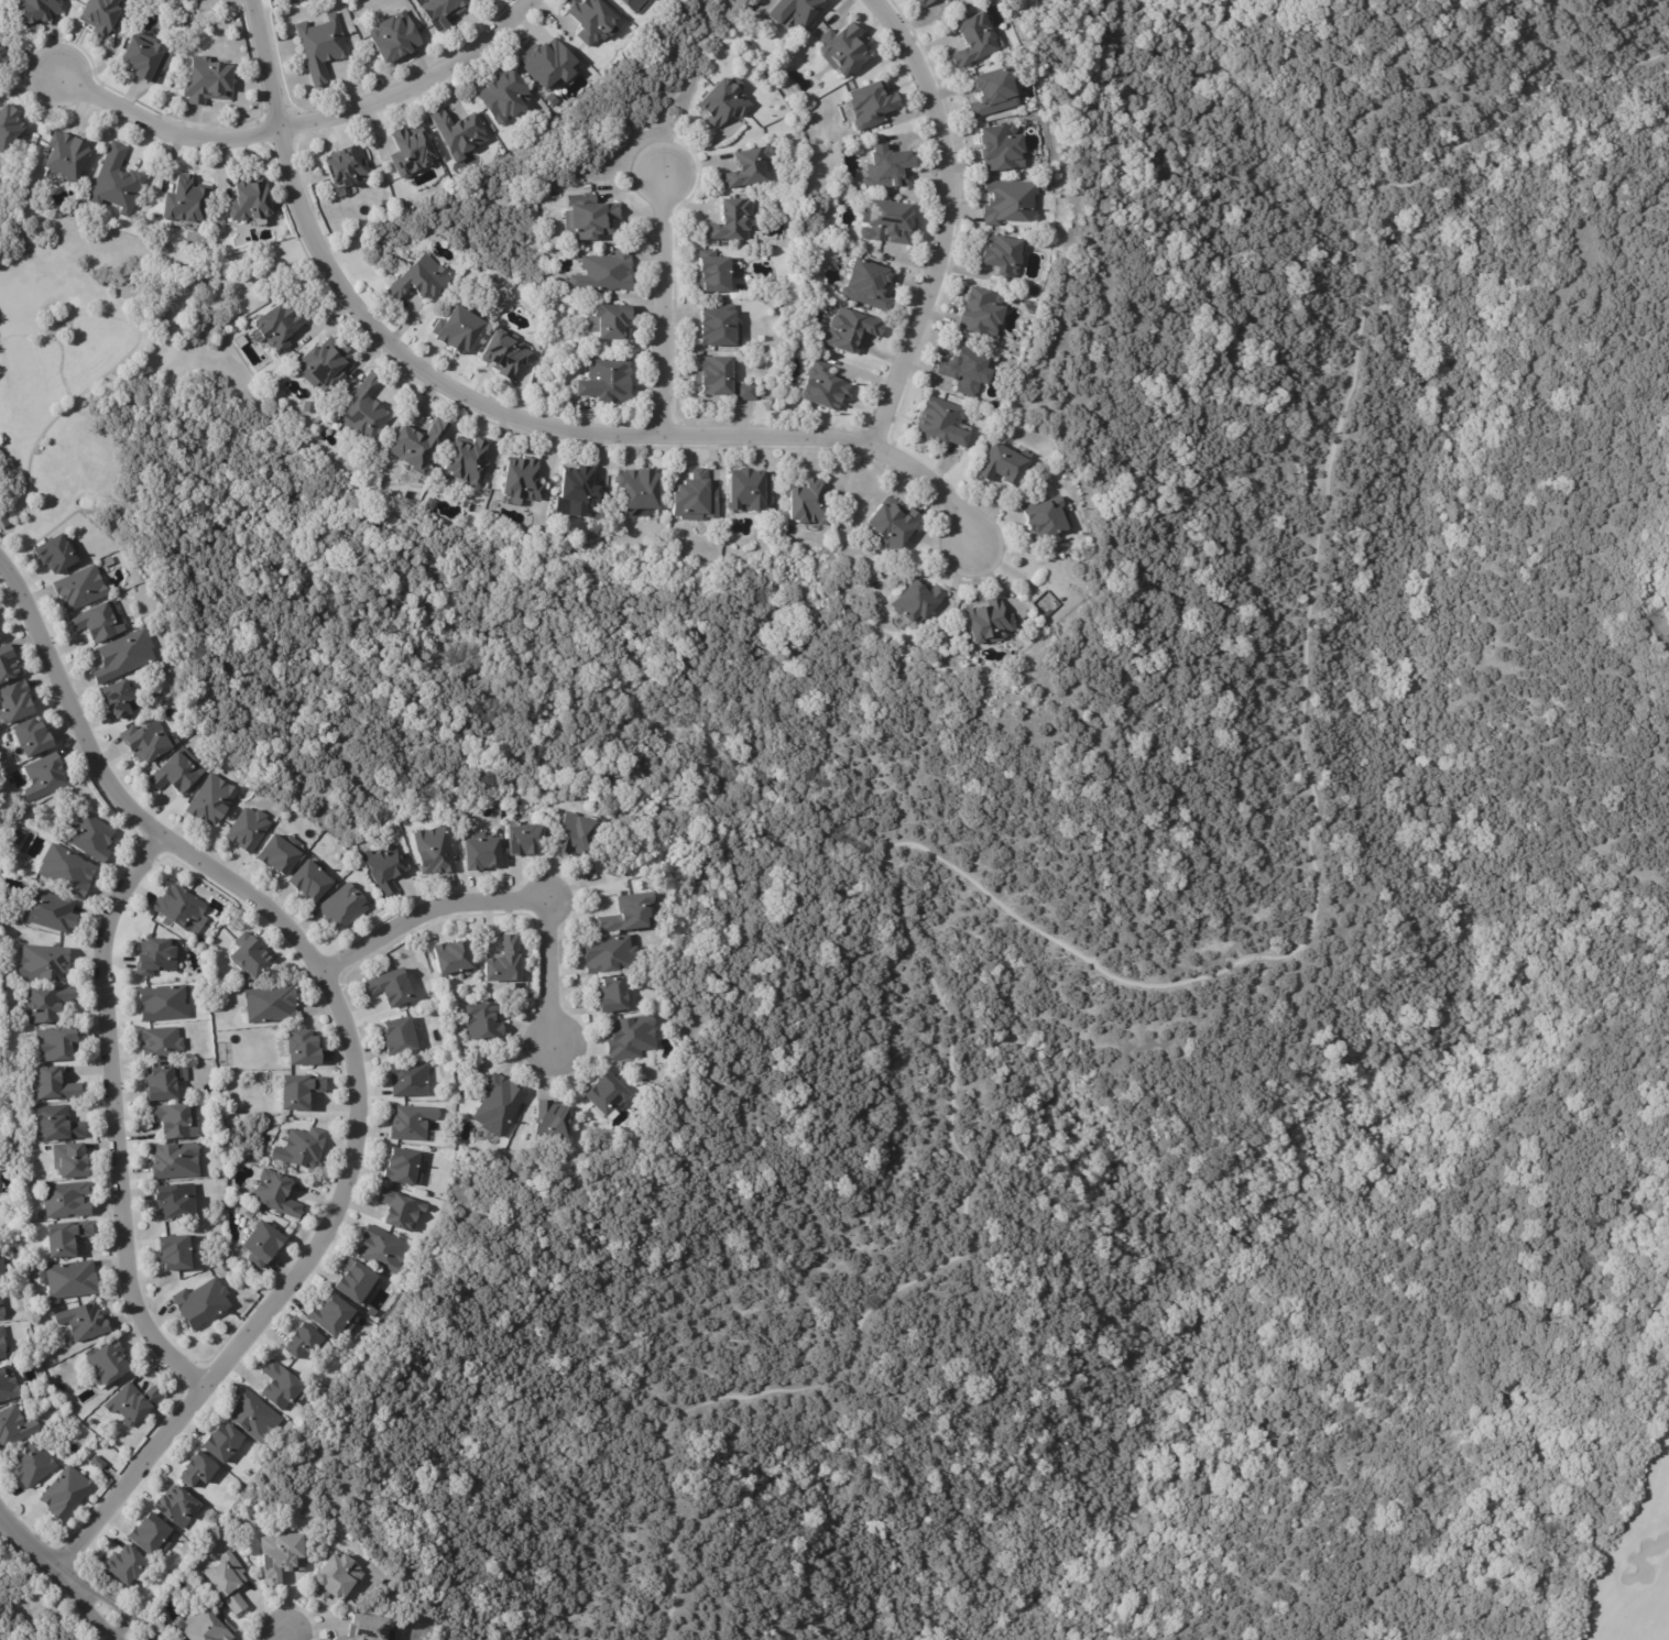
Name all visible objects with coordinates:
building: (181, 0)
building: (647, 0)
building: (946, 0)
building: (189, 1)
building: (950, 1)
building: (927, 2)
building: (631, 4)
building: (796, 11)
building: (33, 12)
building: (440, 12)
building: (99, 15)
building: (591, 21)
building: (394, 39)
building: (974, 41)
building: (320, 47)
building: (841, 50)
building: (2, 58)
building: (143, 62)
building: (547, 65)
building: (206, 80)
building: (992, 92)
building: (503, 99)
building: (553, 100)
building: (722, 103)
building: (871, 103)
building: (10, 127)
road: (306, 130)
building: (458, 136)
building: (1002, 147)
building: (411, 153)
building: (66, 155)
building: (346, 166)
building: (748, 168)
building: (887, 168)
building: (116, 183)
building: (185, 201)
building: (249, 201)
building: (1010, 204)
building: (589, 219)
building: (731, 221)
road: (949, 221)
building: (887, 222)
building: (259, 236)
building: (1002, 256)
building: (604, 274)
building: (710, 274)
building: (419, 282)
building: (868, 286)
road: (664, 306)
building: (981, 314)
building: (610, 321)
building: (276, 328)
building: (719, 328)
building: (458, 332)
building: (850, 332)
building: (504, 354)
building: (324, 365)
building: (966, 373)
building: (714, 376)
building: (606, 382)
building: (825, 389)
building: (745, 393)
building: (307, 405)
building: (364, 413)
road: (510, 419)
building: (942, 426)
building: (417, 447)
building: (467, 462)
building: (1001, 467)
building: (522, 481)
building: (577, 485)
building: (640, 490)
building: (750, 492)
building: (695, 499)
building: (808, 505)
building: (1045, 518)
building: (2, 520)
building: (894, 524)
building: (53, 550)
building: (105, 559)
building: (78, 586)
park: (1659, 586)
building: (917, 603)
building: (1666, 604)
building: (1048, 615)
building: (98, 622)
building: (990, 623)
building: (123, 656)
building: (7, 665)
building: (117, 698)
building: (13, 702)
building: (31, 737)
building: (145, 741)
building: (177, 772)
building: (44, 776)
building: (210, 800)
building: (248, 830)
building: (575, 832)
building: (89, 838)
building: (525, 840)
building: (435, 851)
building: (481, 852)
building: (280, 854)
building: (384, 867)
building: (65, 871)
building: (309, 882)
road: (497, 897)
building: (178, 908)
building: (341, 908)
building: (50, 912)
building: (630, 915)
building: (610, 955)
building: (155, 956)
building: (249, 956)
building: (452, 959)
building: (42, 963)
building: (504, 963)
building: (391, 990)
building: (612, 996)
building: (162, 1004)
building: (44, 1005)
building: (270, 1005)
building: (482, 1023)
building: (399, 1037)
building: (631, 1038)
building: (160, 1043)
building: (55, 1045)
building: (301, 1048)
road: (350, 1049)
building: (408, 1081)
building: (163, 1083)
building: (50, 1086)
building: (298, 1092)
building: (608, 1098)
building: (499, 1106)
building: (174, 1122)
building: (552, 1122)
building: (412, 1124)
building: (55, 1125)
road: (116, 1126)
building: (301, 1148)
building: (174, 1160)
building: (72, 1162)
building: (402, 1168)
building: (275, 1195)
building: (174, 1201)
building: (65, 1202)
building: (399, 1212)
building: (64, 1239)
building: (261, 1245)
building: (380, 1247)
building: (173, 1255)
park: (1663, 1258)
building: (1, 1268)
building: (69, 1280)
building: (354, 1284)
building: (200, 1305)
building: (0, 1312)
building: (332, 1319)
building: (83, 1324)
building: (1, 1343)
building: (303, 1343)
building: (107, 1365)
building: (8, 1385)
building: (280, 1389)
building: (131, 1406)
building: (254, 1418)
building: (13, 1429)
building: (221, 1443)
building: (97, 1463)
building: (31, 1467)
building: (197, 1470)
building: (65, 1495)
building: (177, 1509)
building: (151, 1537)
building: (280, 1555)
park: (1634, 1560)
building: (124, 1566)
road: (72, 1574)
building: (336, 1577)
building: (25, 1578)
building: (227, 1581)
building: (363, 1627)
building: (208, 1628)
road: (281, 1636)

